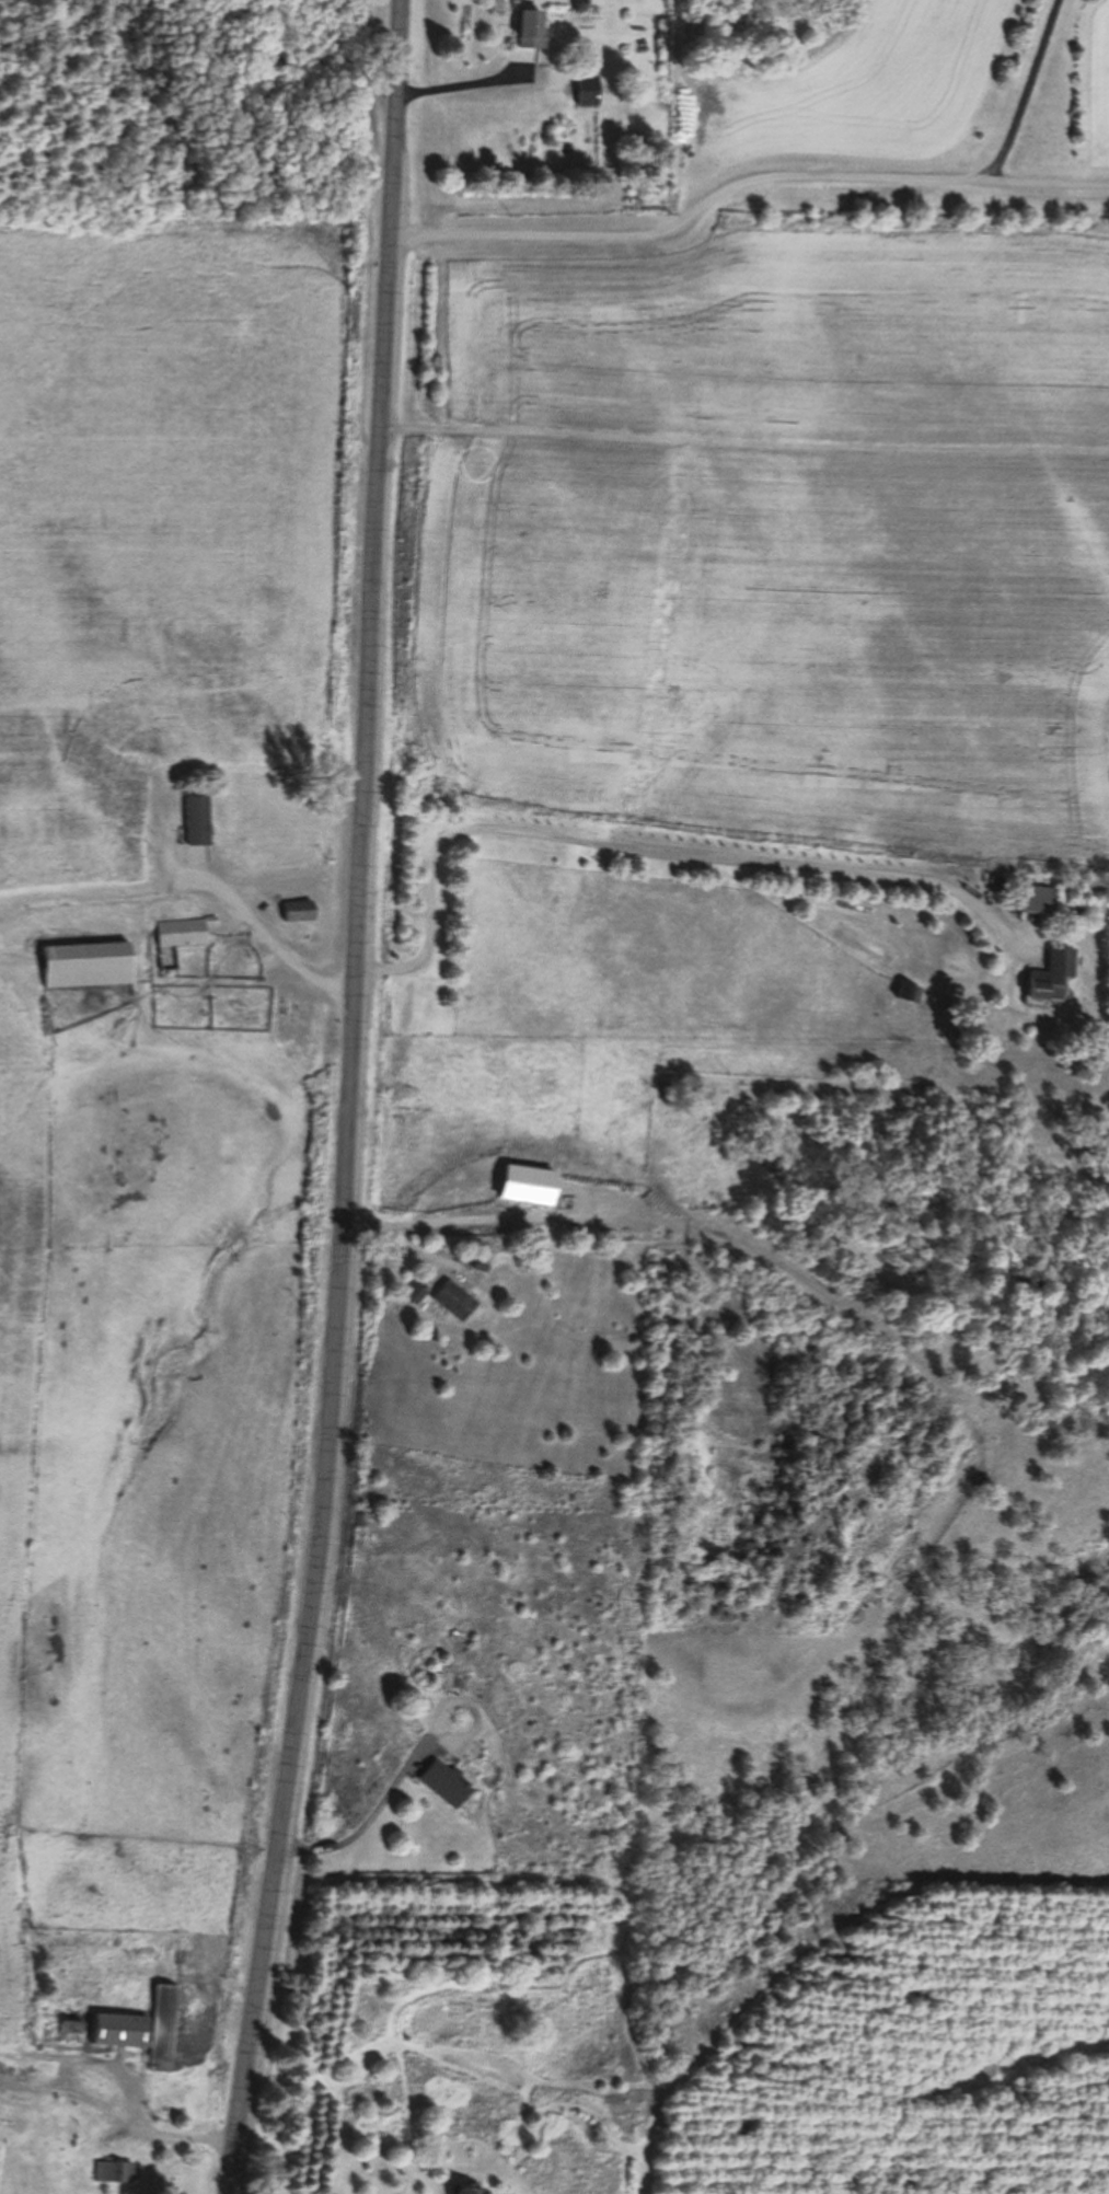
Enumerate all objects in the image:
building: (527, 32)
road: (1025, 89)
building: (585, 93)
road: (742, 175)
building: (195, 821)
building: (1033, 901)
building: (296, 913)
building: (182, 934)
building: (85, 967)
building: (1049, 979)
building: (905, 995)
road: (369, 1098)
road: (351, 1100)
building: (413, 1294)
building: (451, 1301)
building: (443, 1785)
building: (67, 2028)
building: (160, 2030)
building: (116, 2031)
building: (72, 2141)
building: (112, 2172)
building: (464, 2192)

